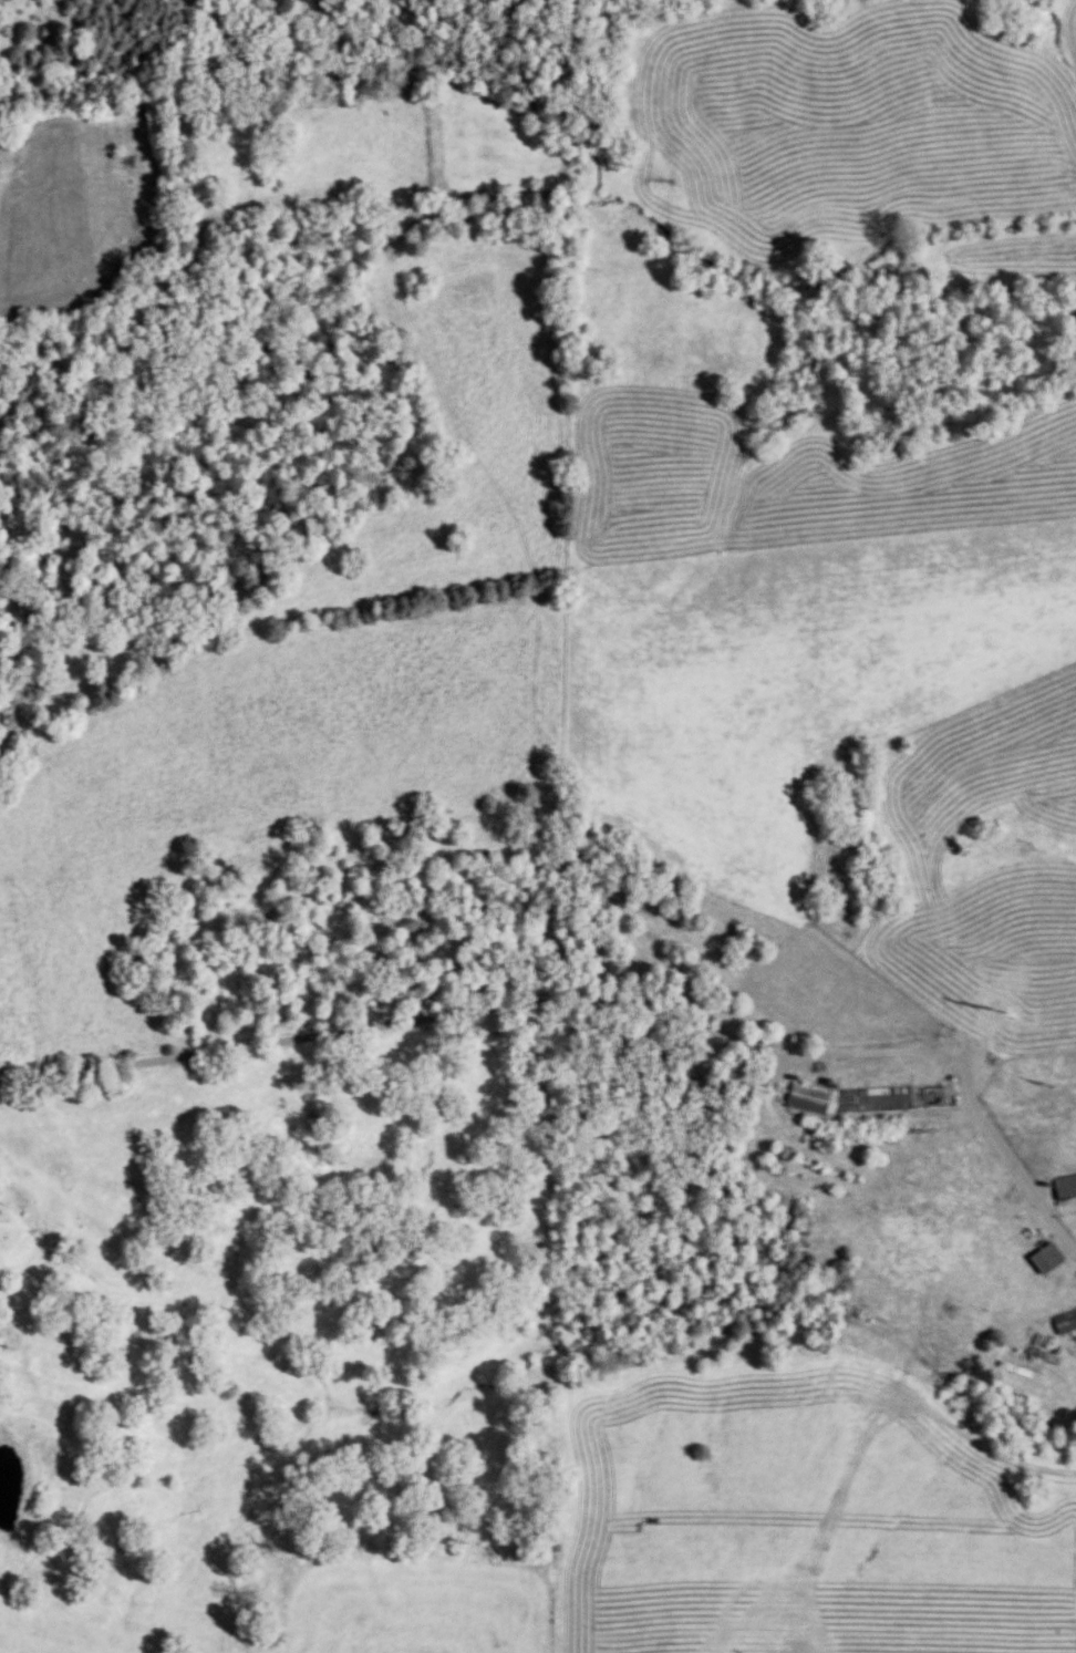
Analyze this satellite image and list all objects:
road: (593, 1001)
power tower: (993, 1005)
building: (846, 1098)
building: (1063, 1185)
building: (1042, 1257)
building: (1064, 1322)

